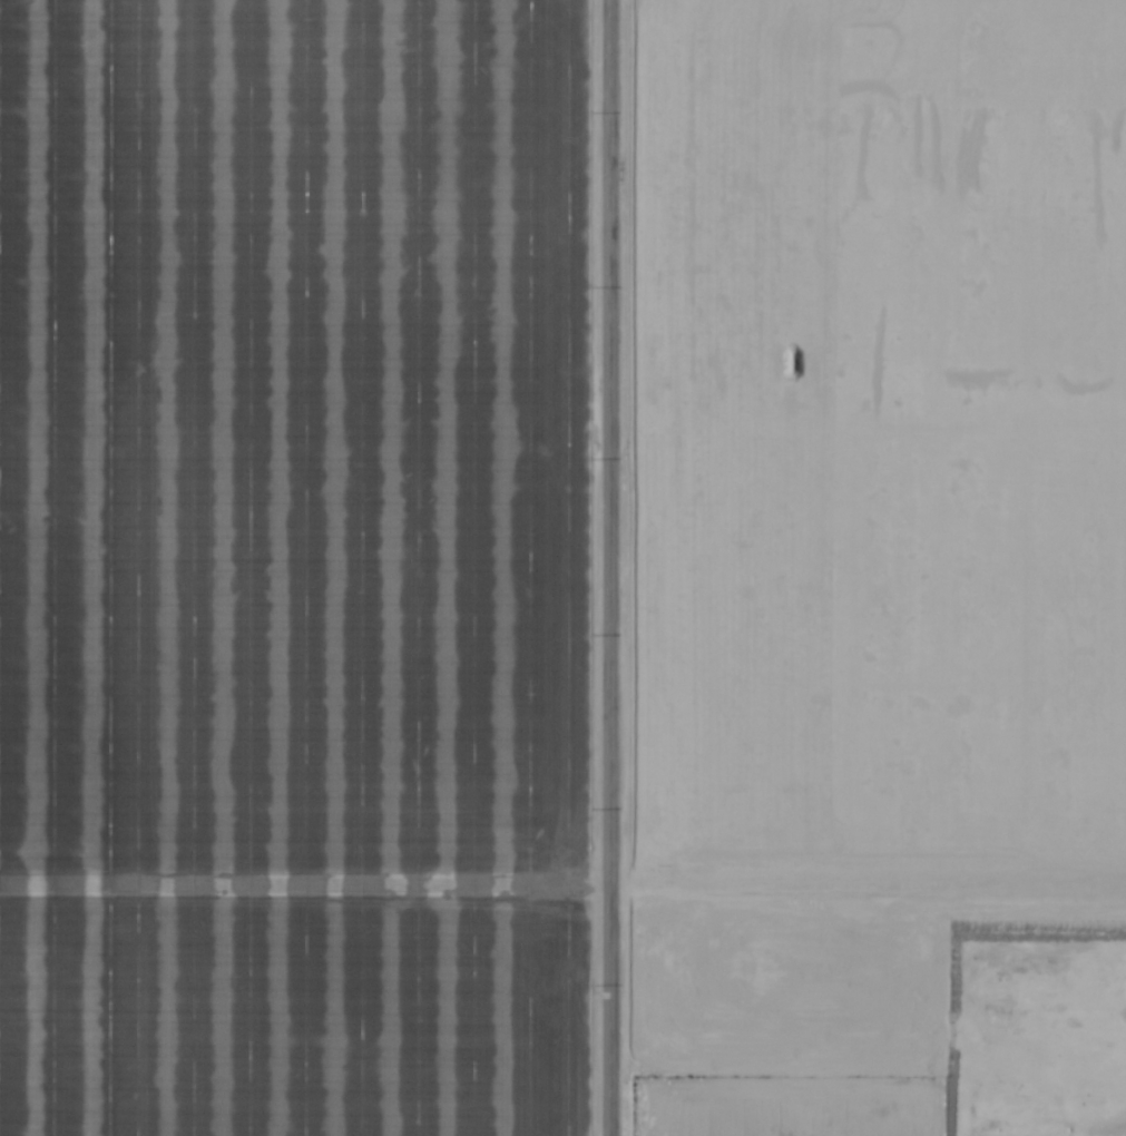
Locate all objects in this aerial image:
road: (604, 568)

